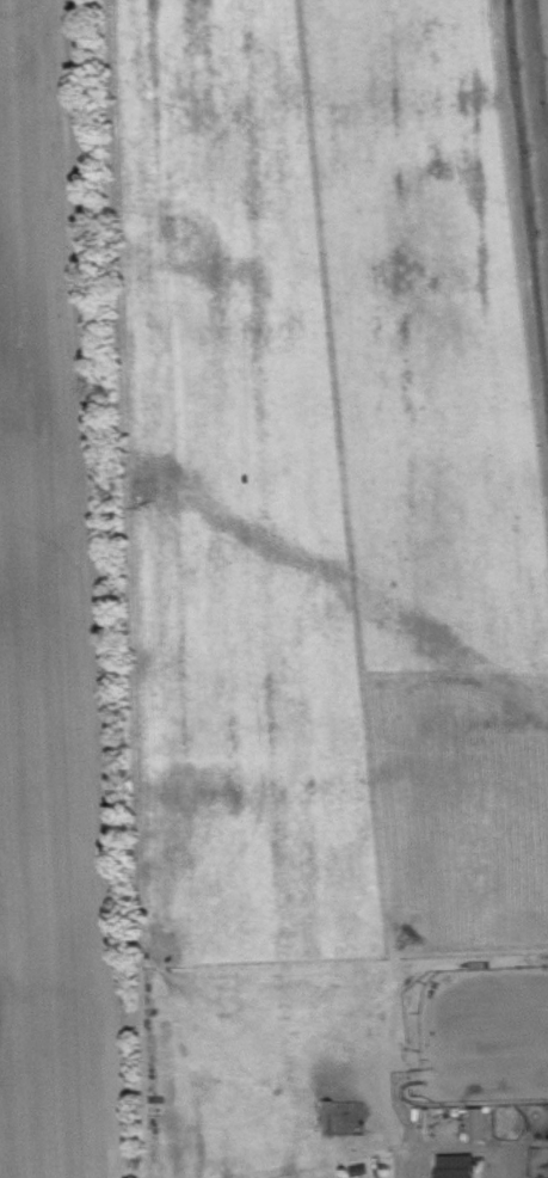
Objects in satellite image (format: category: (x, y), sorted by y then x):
building: (484, 1133)
building: (463, 1170)

